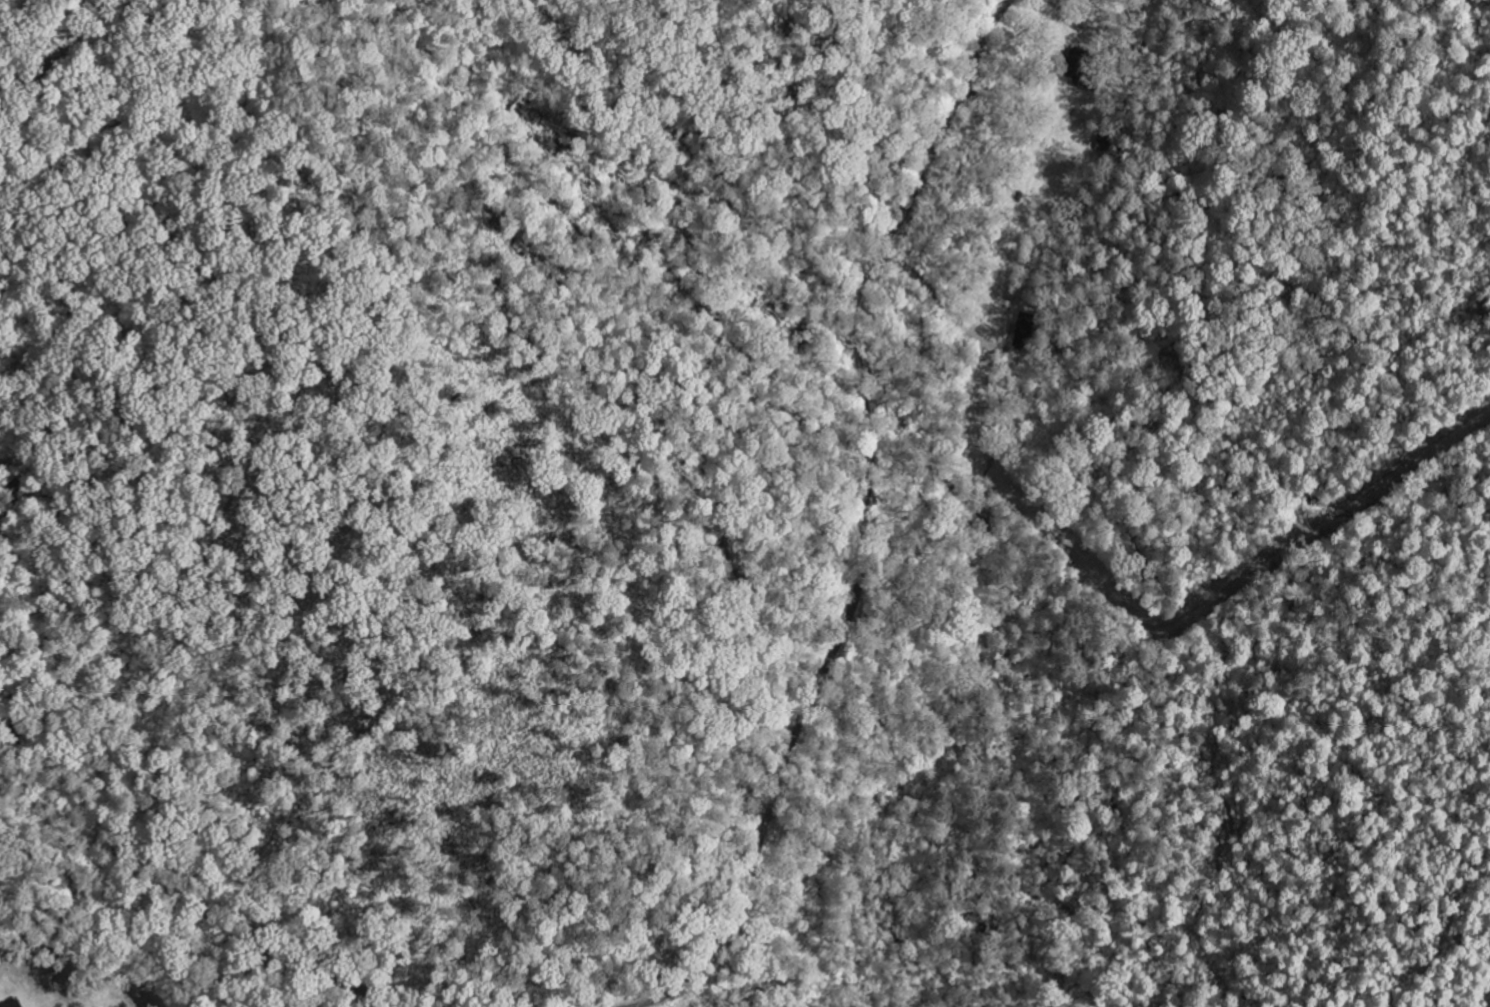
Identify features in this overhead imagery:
building: (1083, 70)
building: (1027, 331)
road: (861, 526)
road: (200, 930)
building: (15, 1004)

